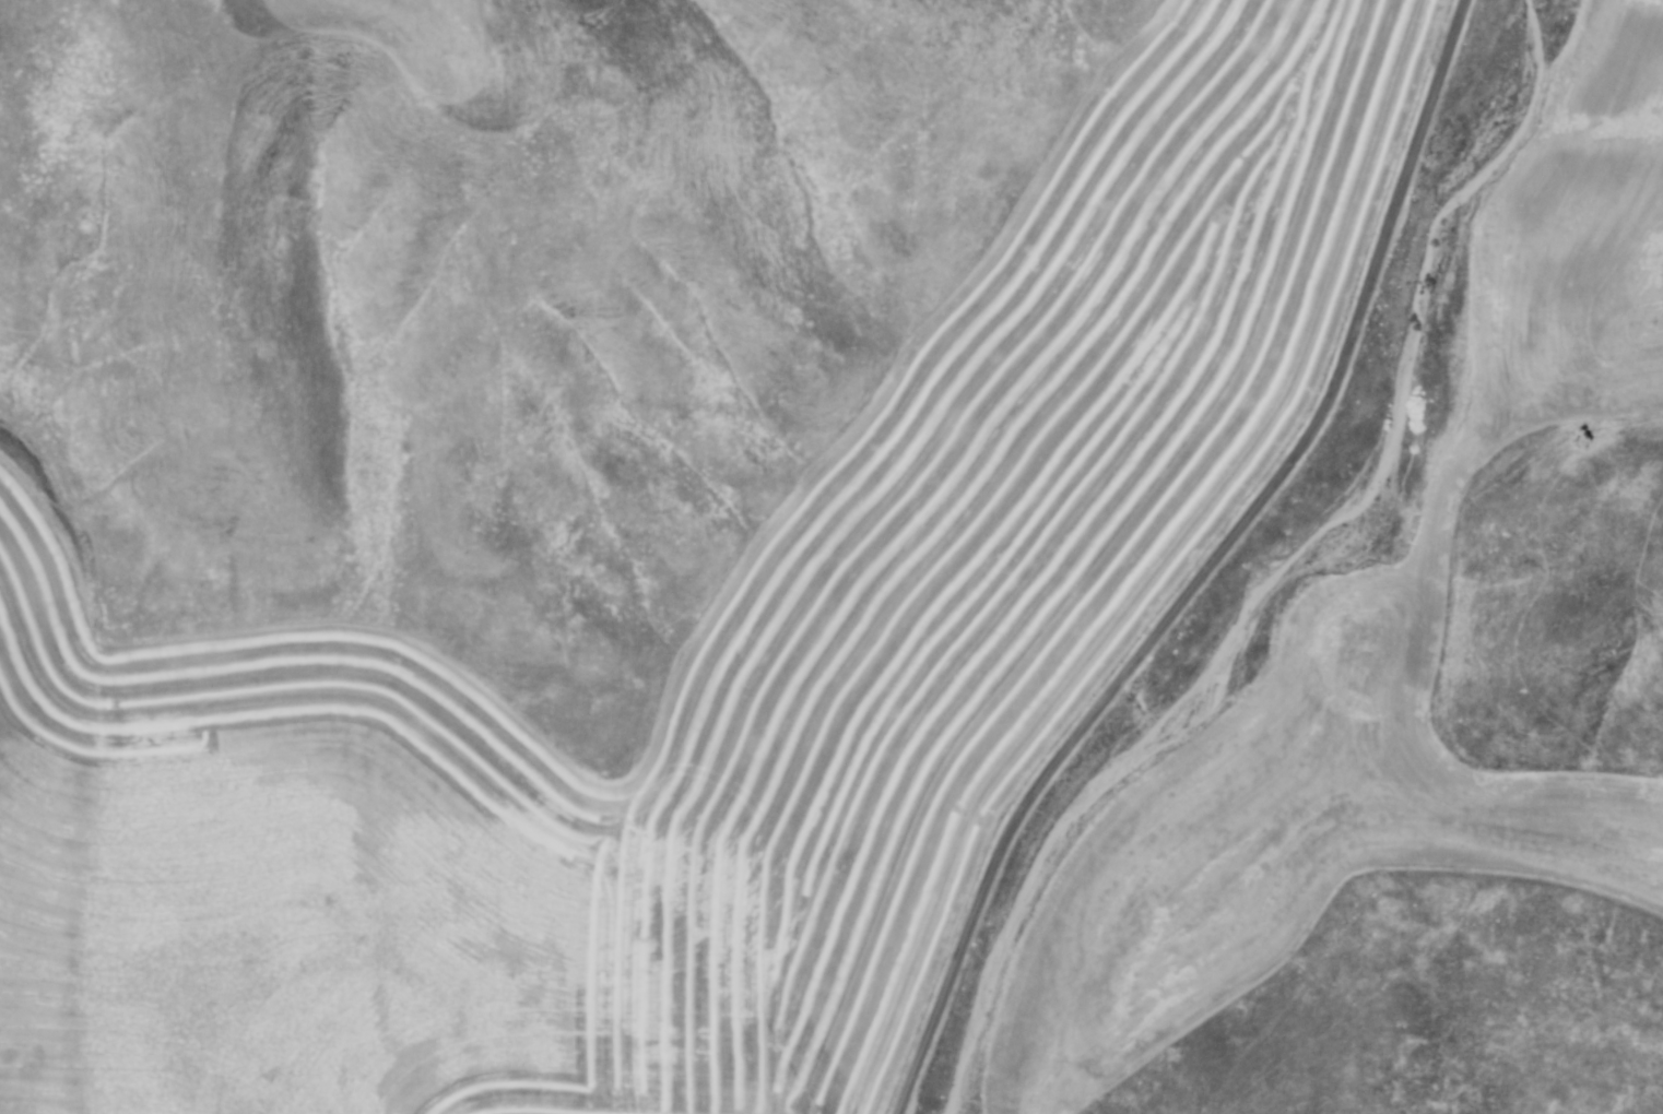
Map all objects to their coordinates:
road: (1201, 568)

